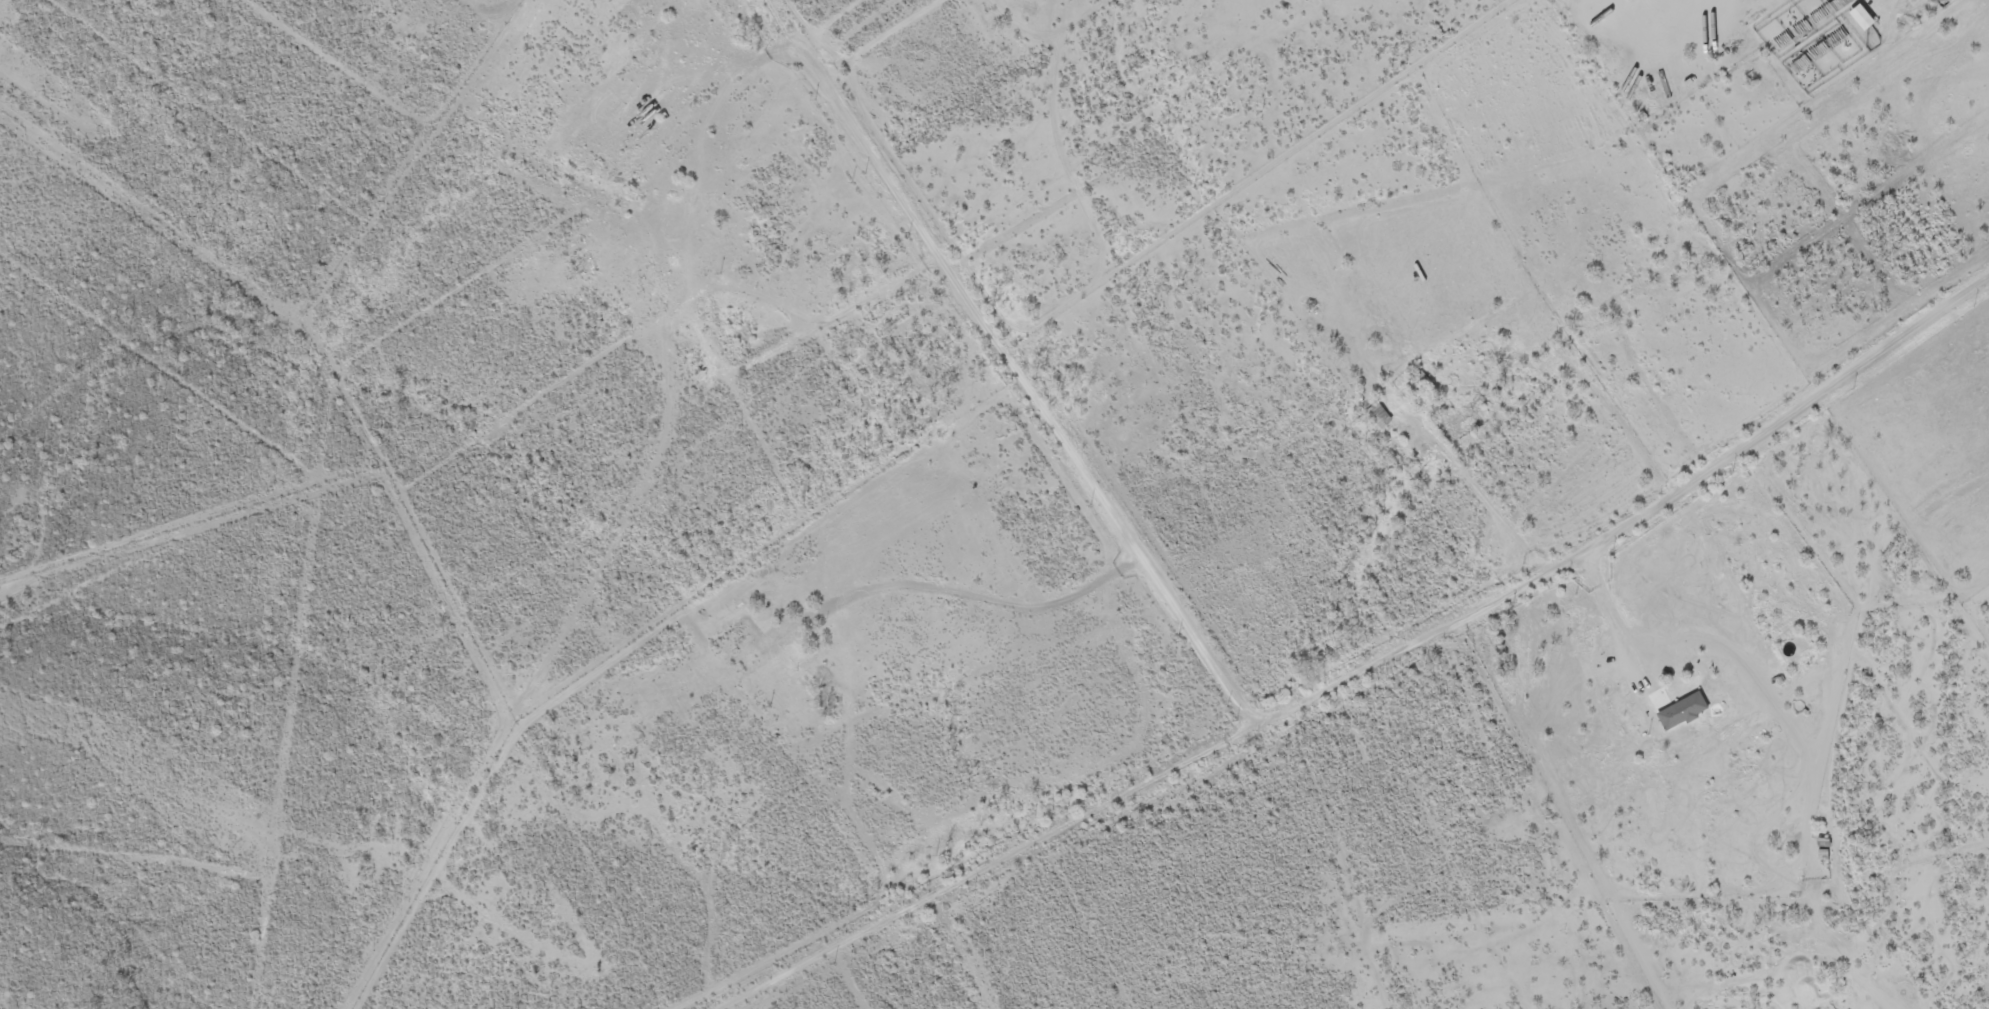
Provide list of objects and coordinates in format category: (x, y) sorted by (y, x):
road: (1042, 23)
building: (657, 284)
road: (1199, 499)
building: (1793, 644)
building: (1681, 707)
building: (1823, 844)

